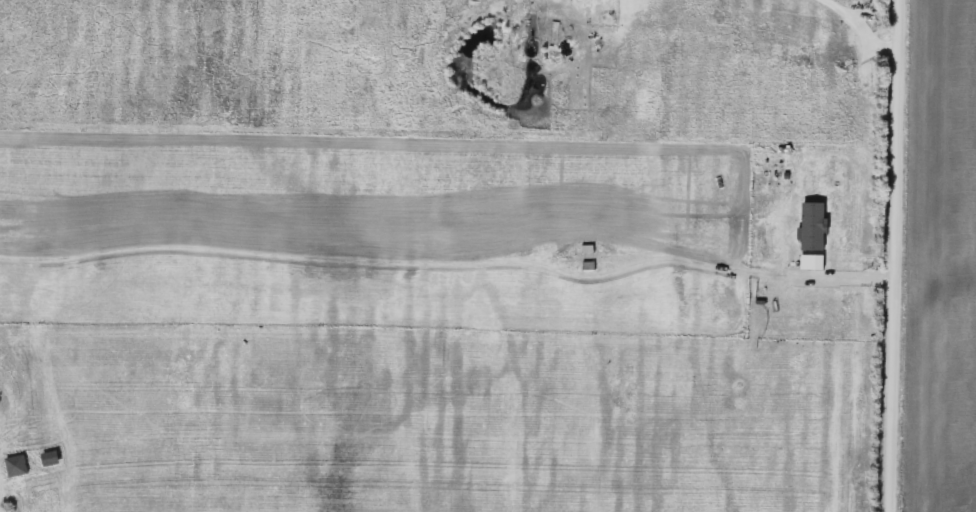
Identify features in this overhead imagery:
road: (861, 23)
road: (890, 255)

